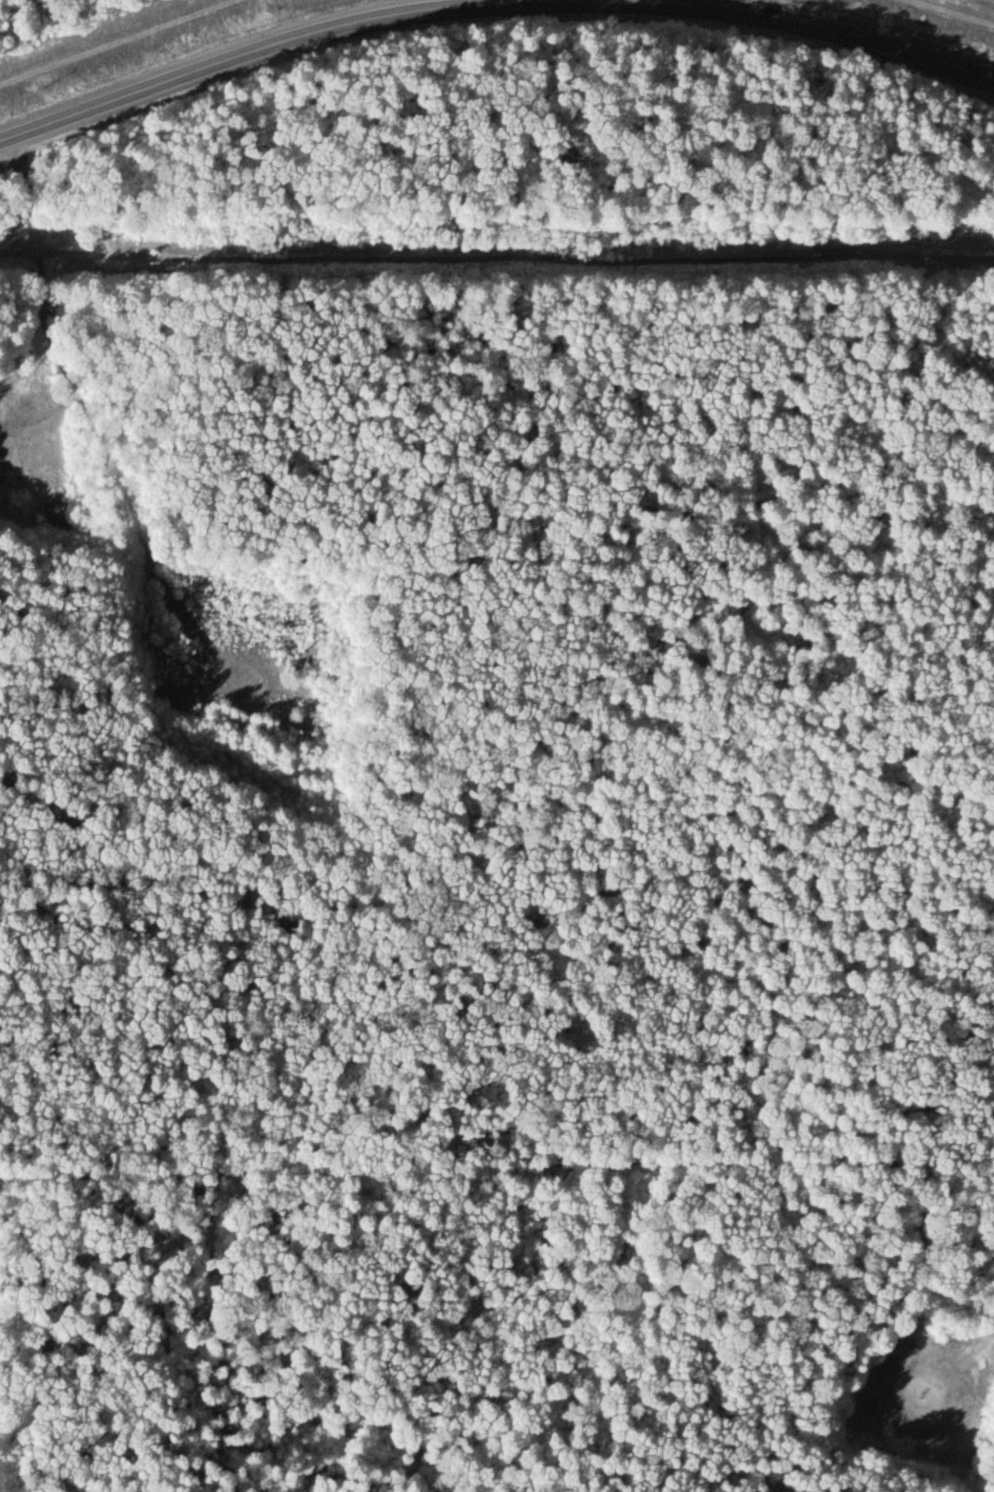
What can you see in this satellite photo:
road: (661, 5)
road: (491, 9)
road: (277, 1171)
road: (982, 1357)

